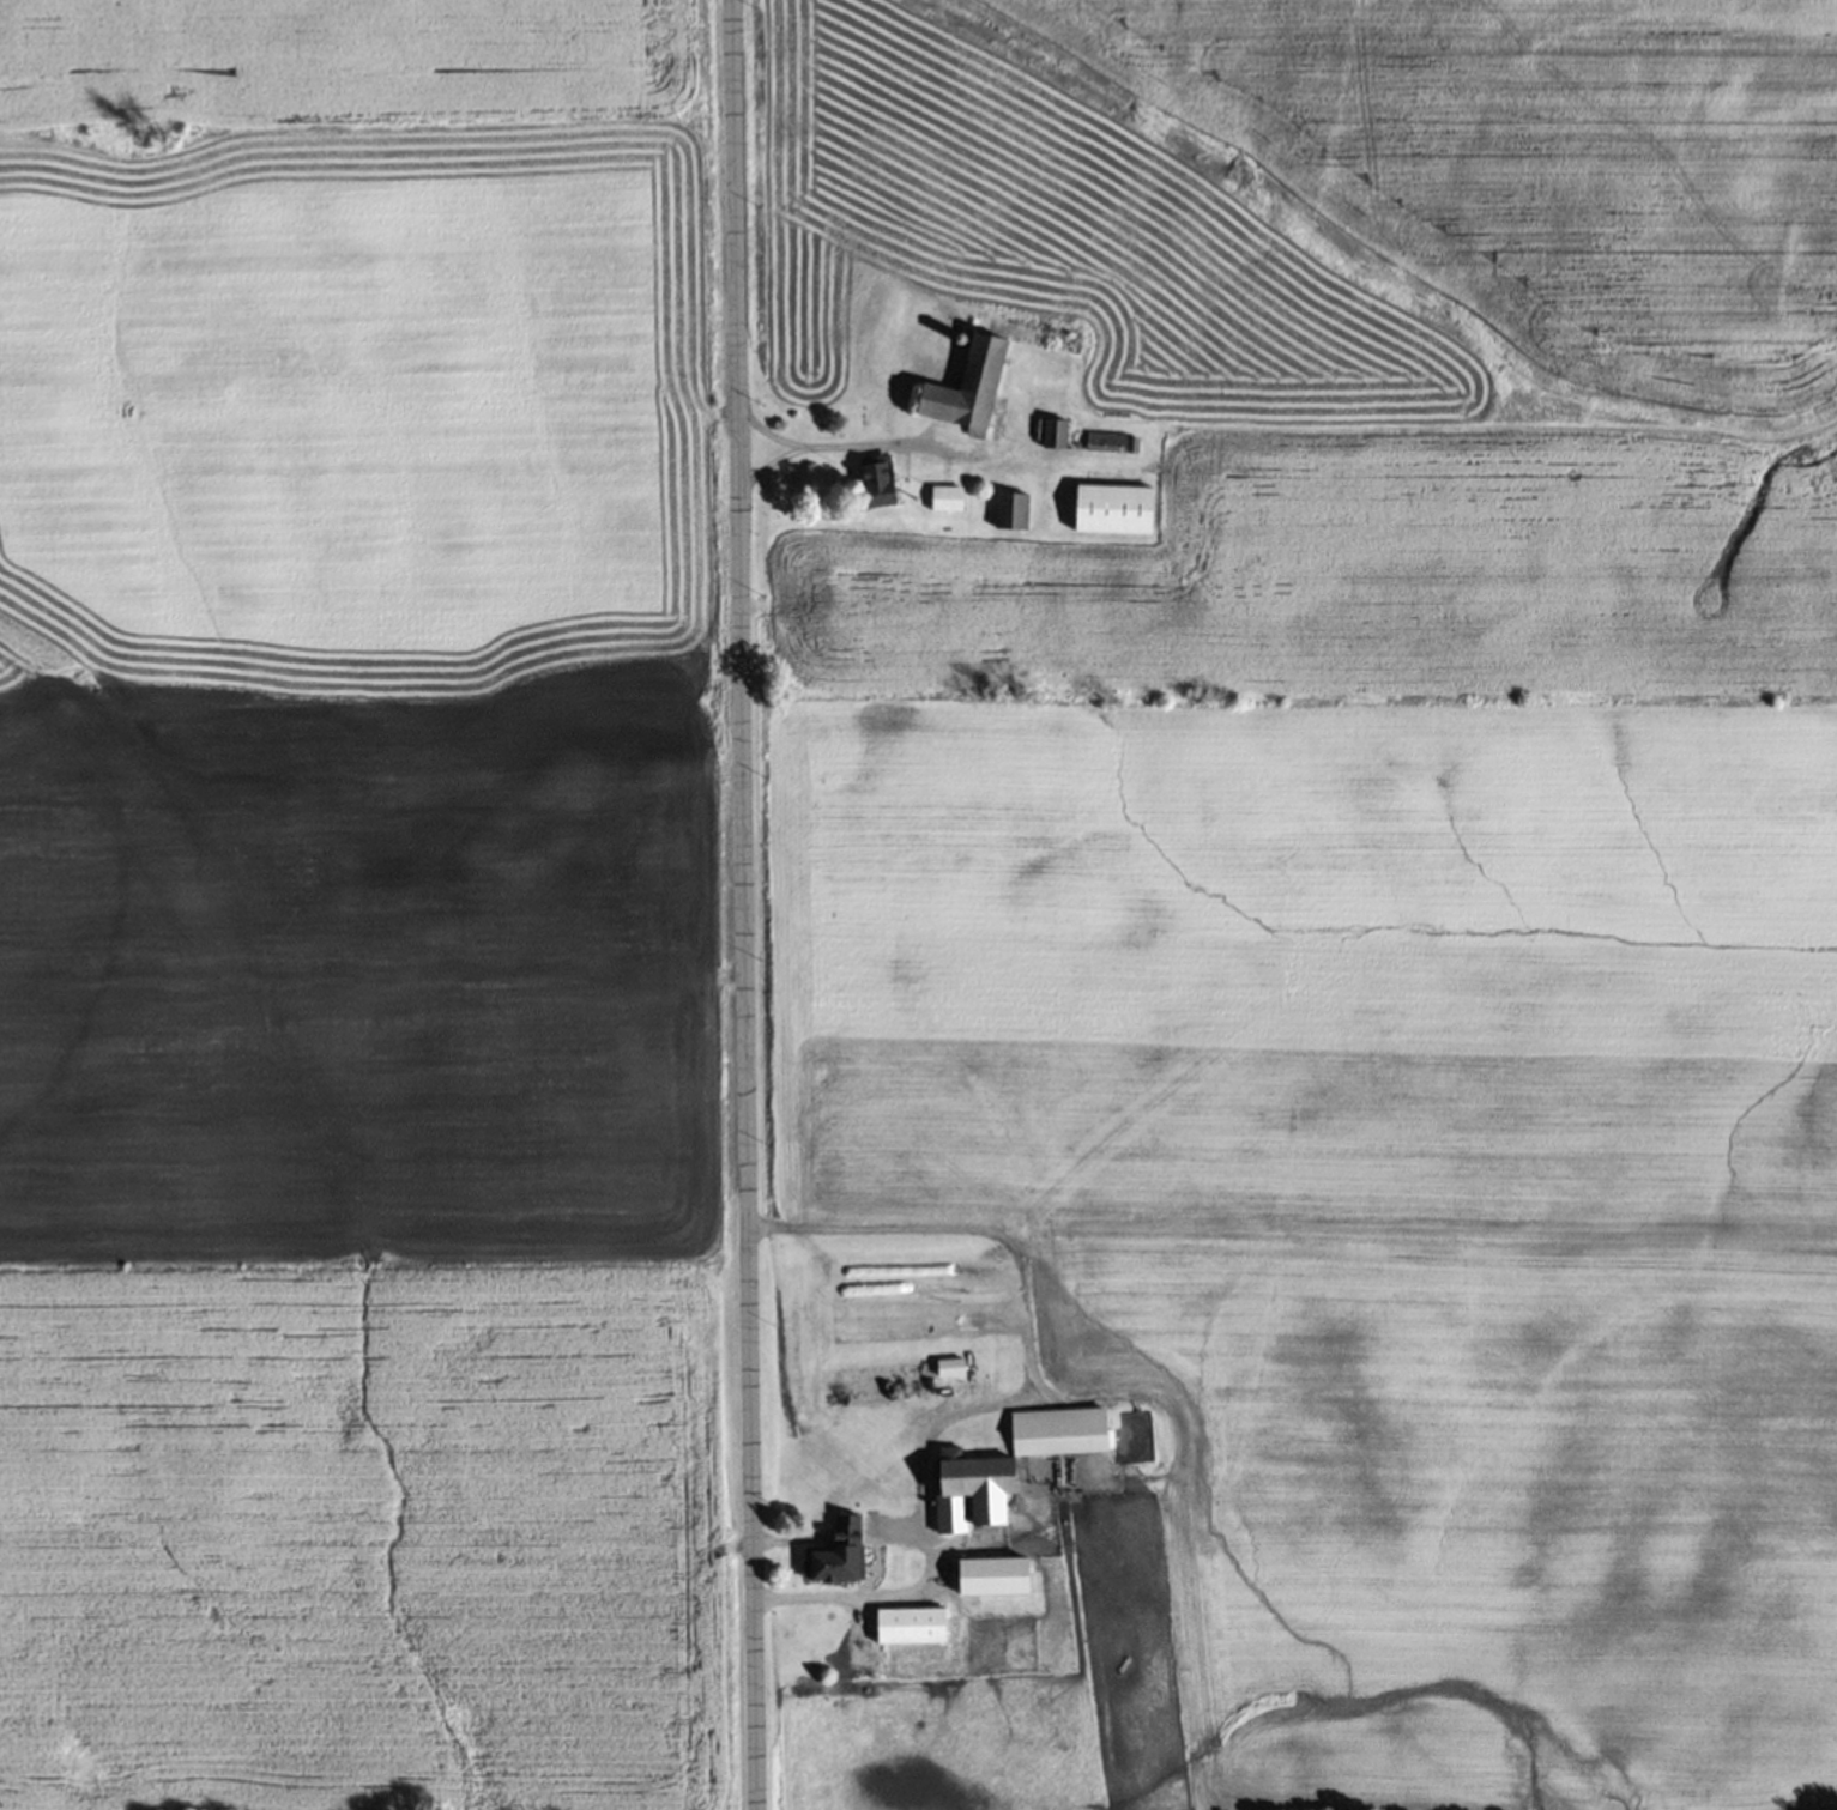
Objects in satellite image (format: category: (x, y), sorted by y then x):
building: (971, 387)
building: (1055, 432)
building: (878, 479)
building: (947, 496)
building: (1114, 508)
building: (1011, 509)
road: (743, 904)
building: (895, 1379)
building: (1013, 1464)
building: (830, 1566)
building: (996, 1576)
building: (912, 1624)

